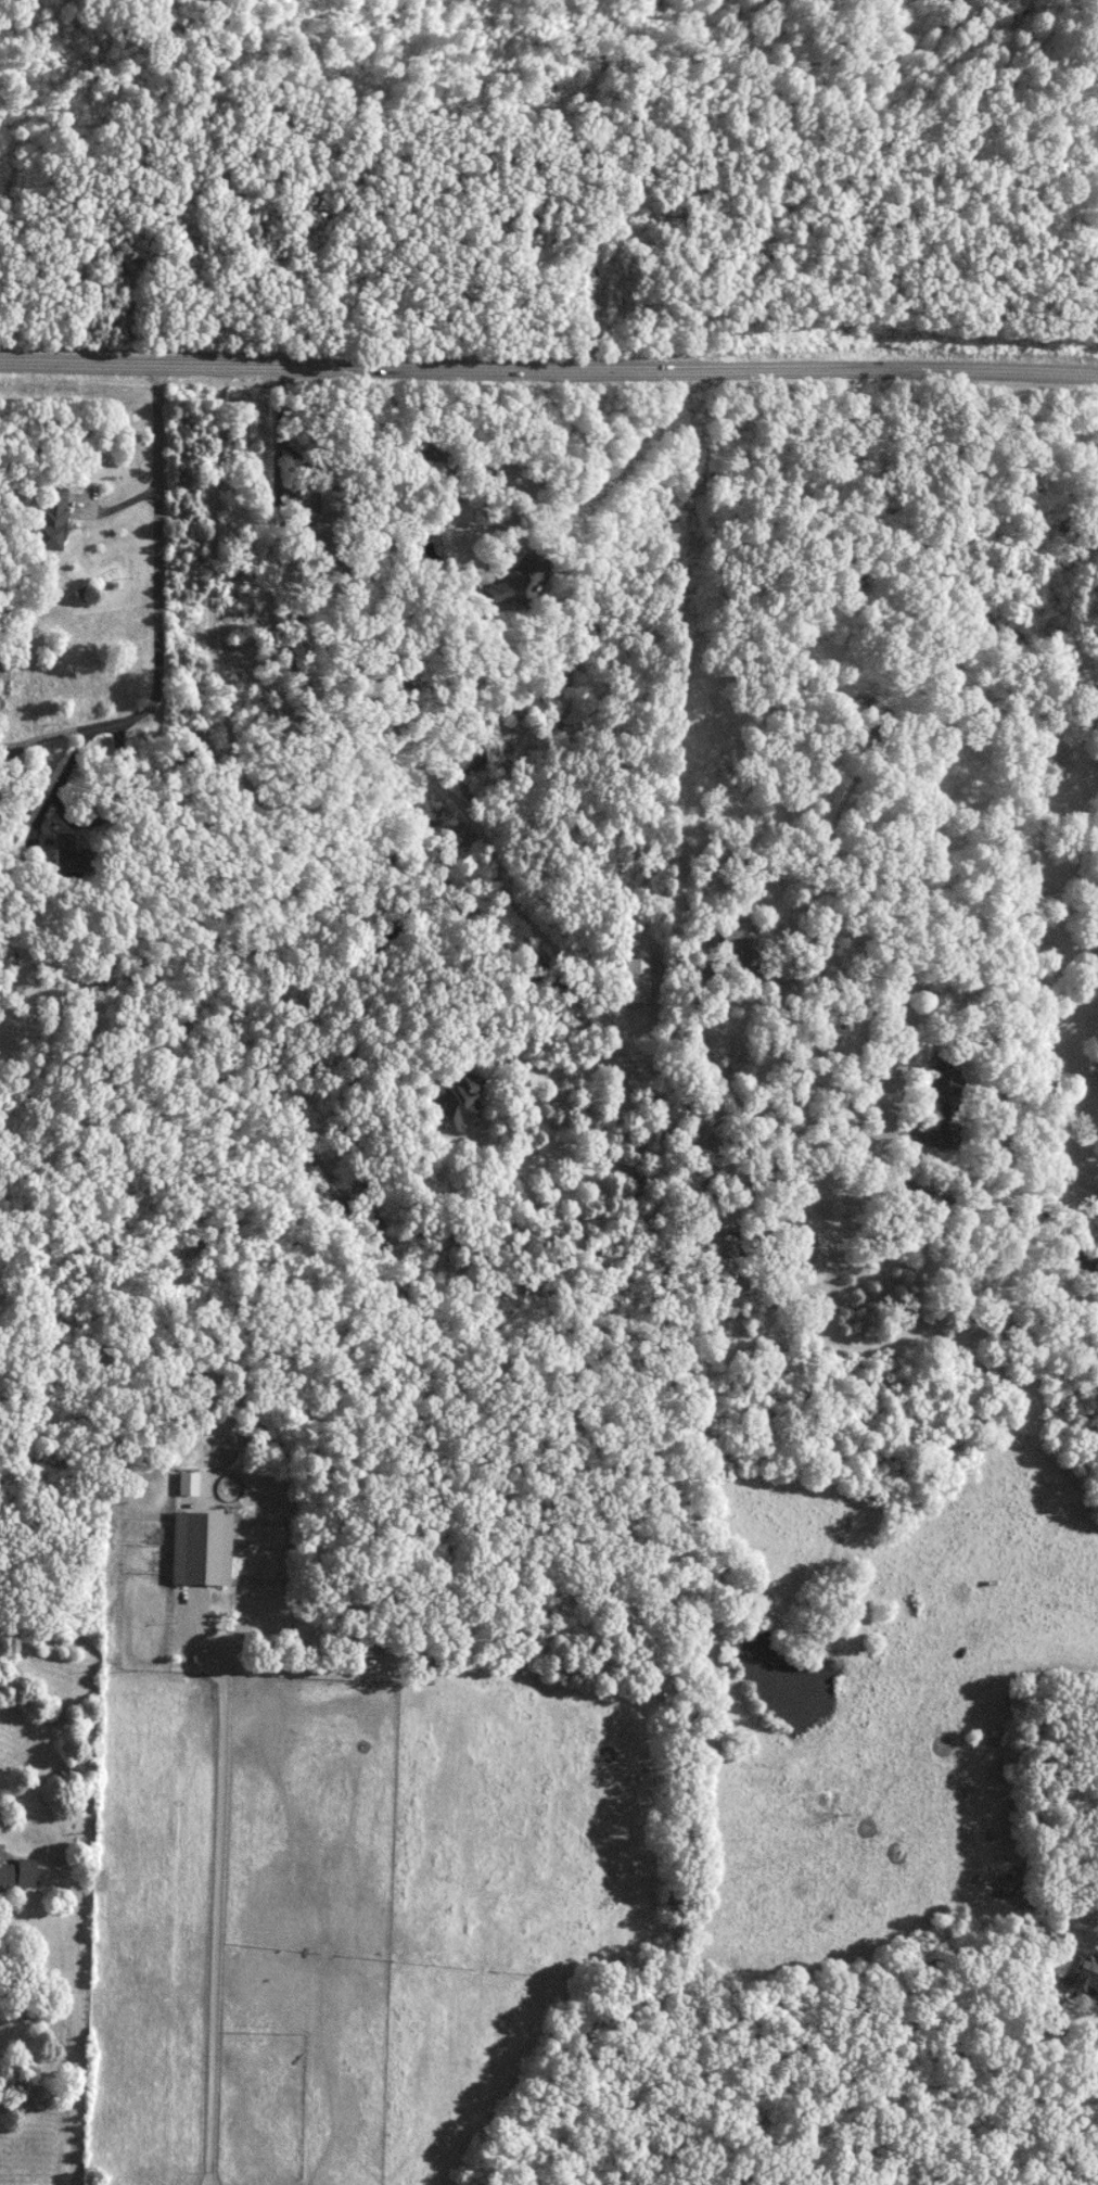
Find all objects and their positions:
road: (548, 366)
road: (572, 472)
building: (54, 518)
building: (507, 584)
road: (153, 599)
road: (424, 747)
building: (75, 854)
road: (1044, 884)
building: (743, 936)
building: (634, 980)
building: (941, 1095)
building: (456, 1101)
building: (723, 1257)
building: (186, 1483)
building: (199, 1548)
building: (394, 1644)
building: (18, 1871)
road: (213, 1887)
building: (1081, 1971)
road: (73, 2025)
road: (401, 2121)

